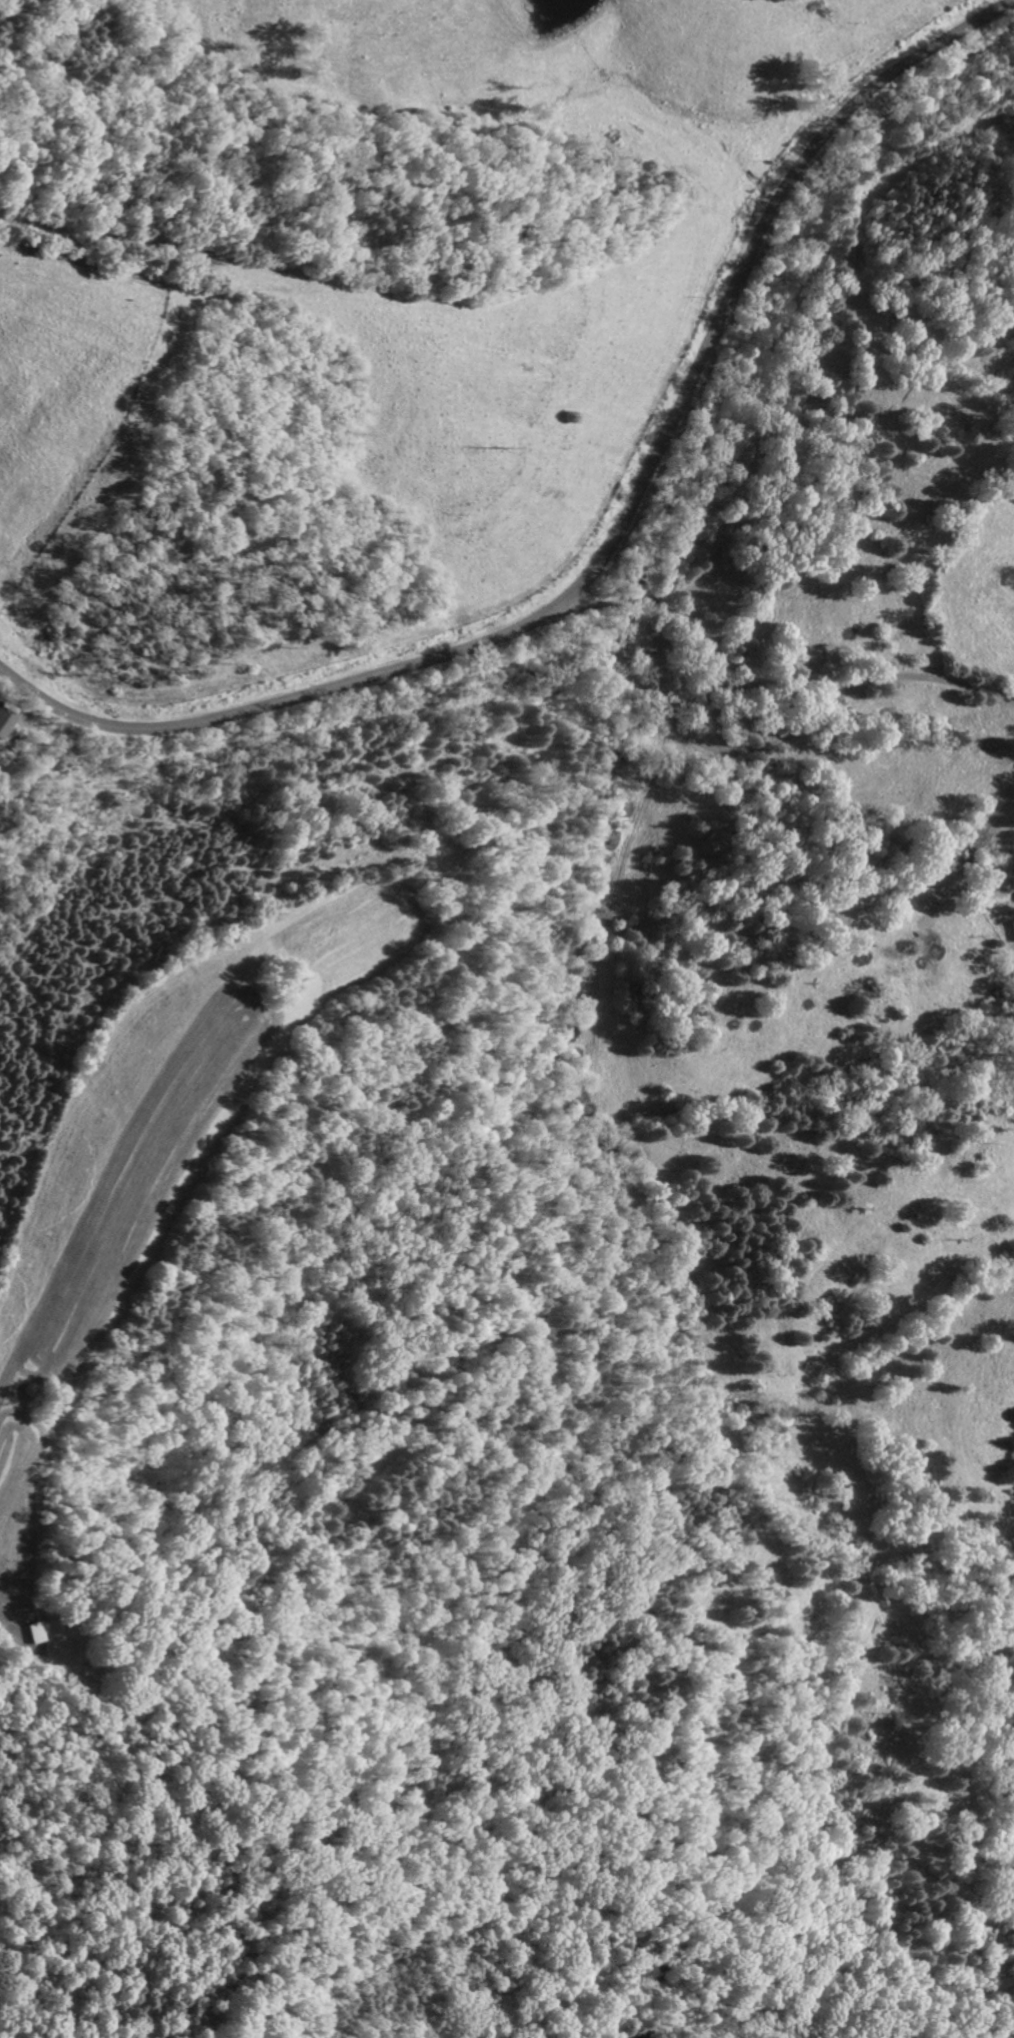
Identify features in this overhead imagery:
road: (754, 234)
road: (770, 688)
road: (310, 690)
building: (4, 724)

